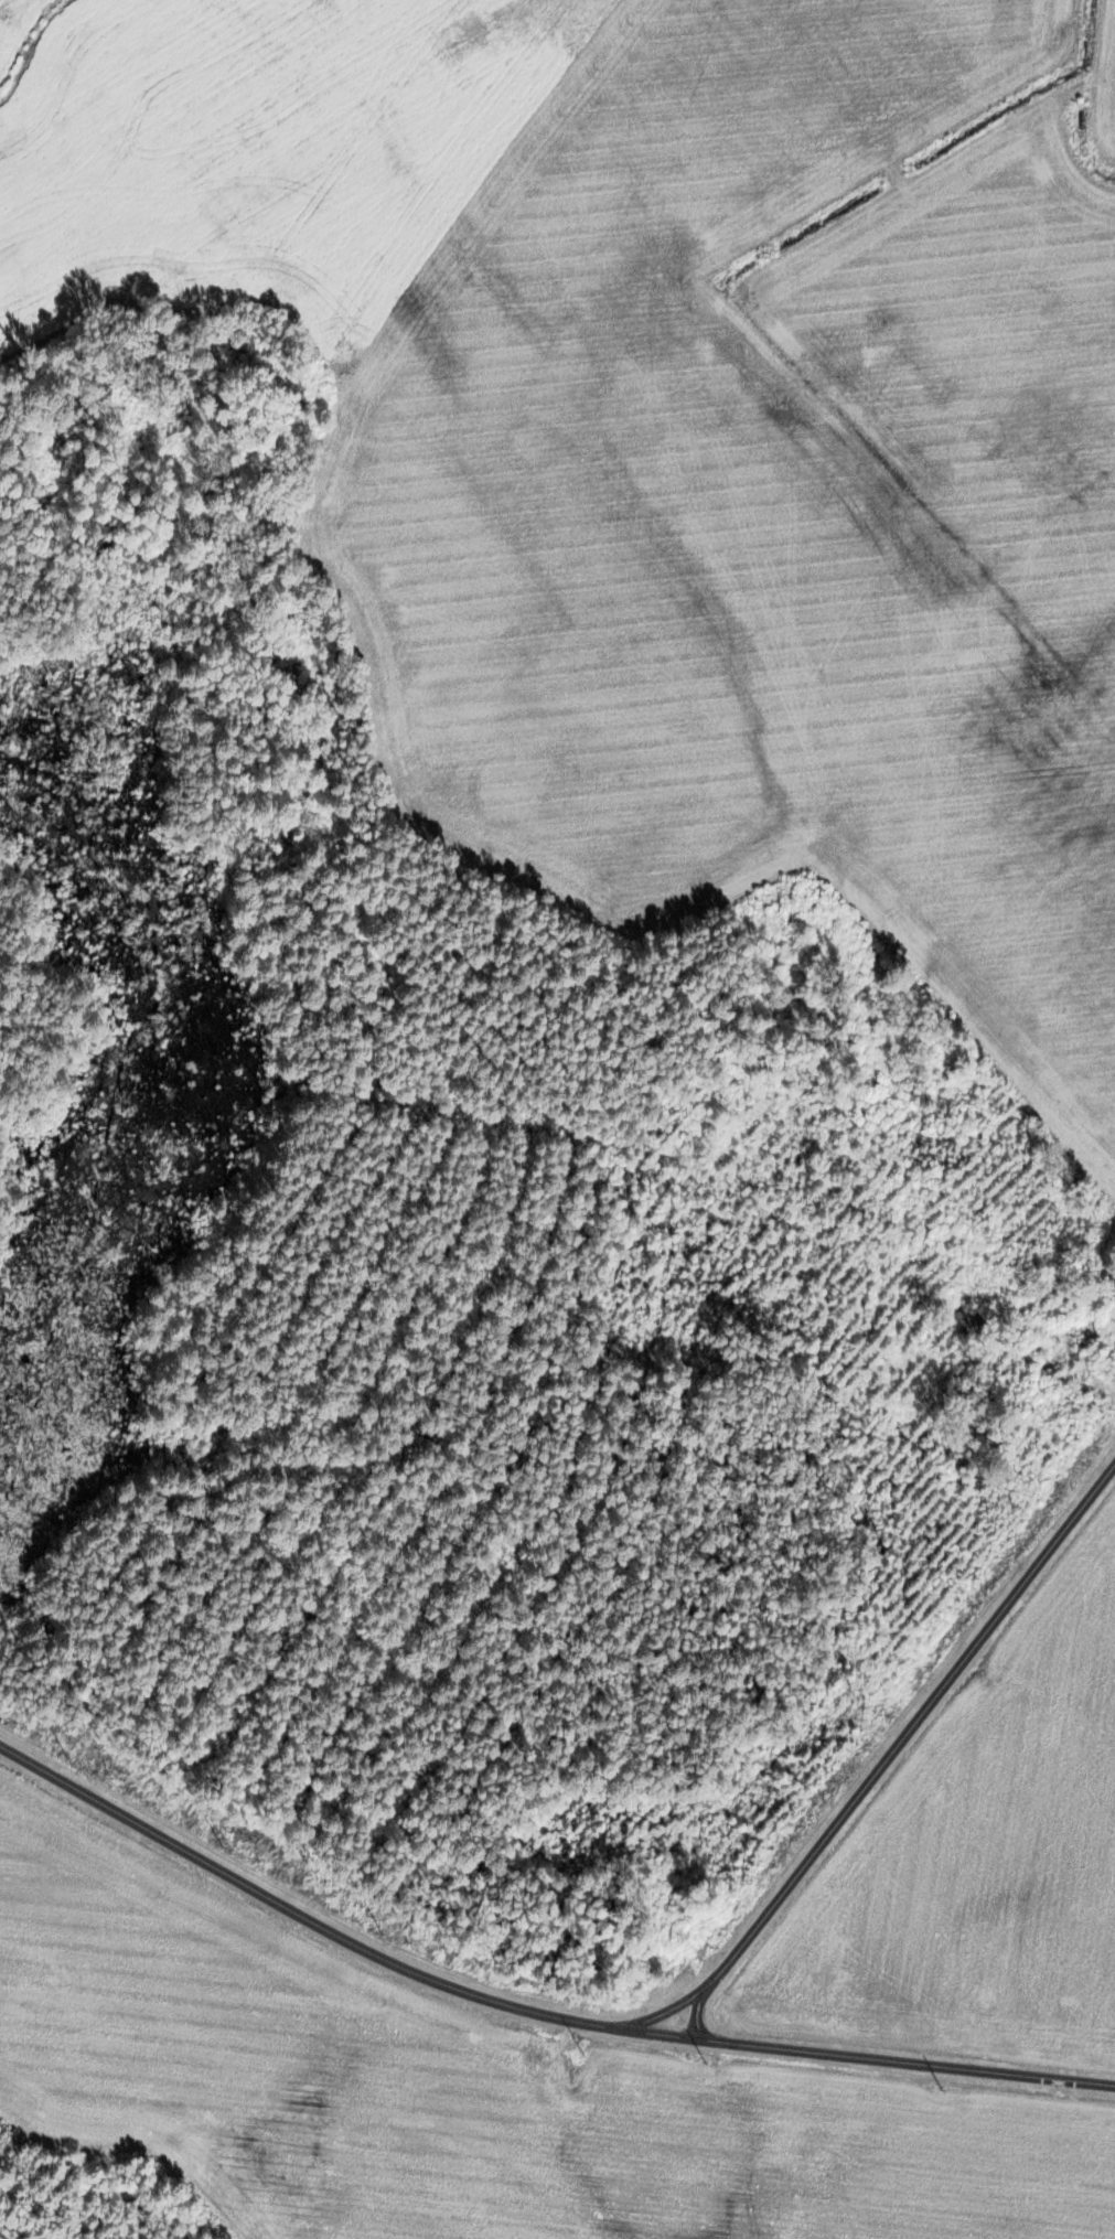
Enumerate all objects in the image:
road: (883, 1763)
road: (527, 2011)
road: (696, 2014)

